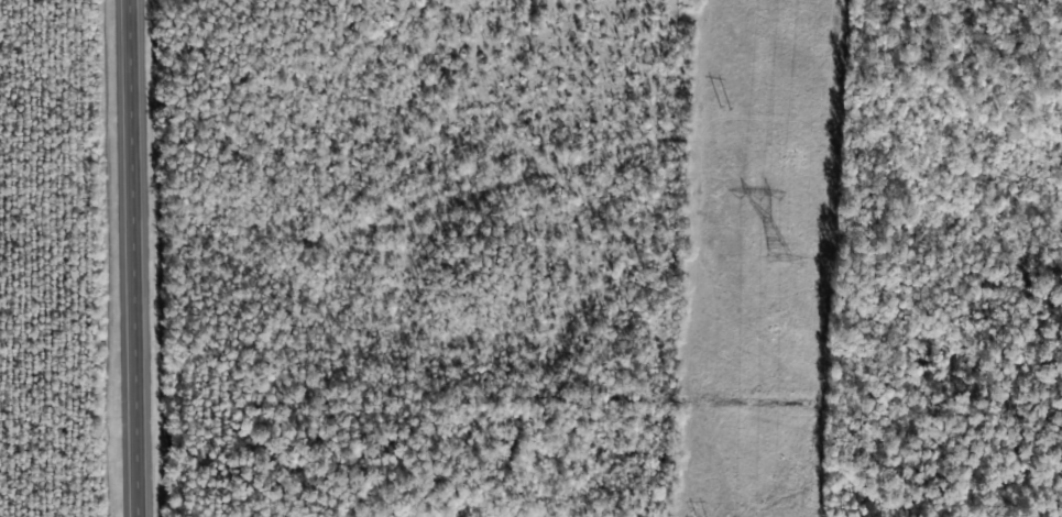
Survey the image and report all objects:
power tower: (770, 257)
road: (139, 258)

